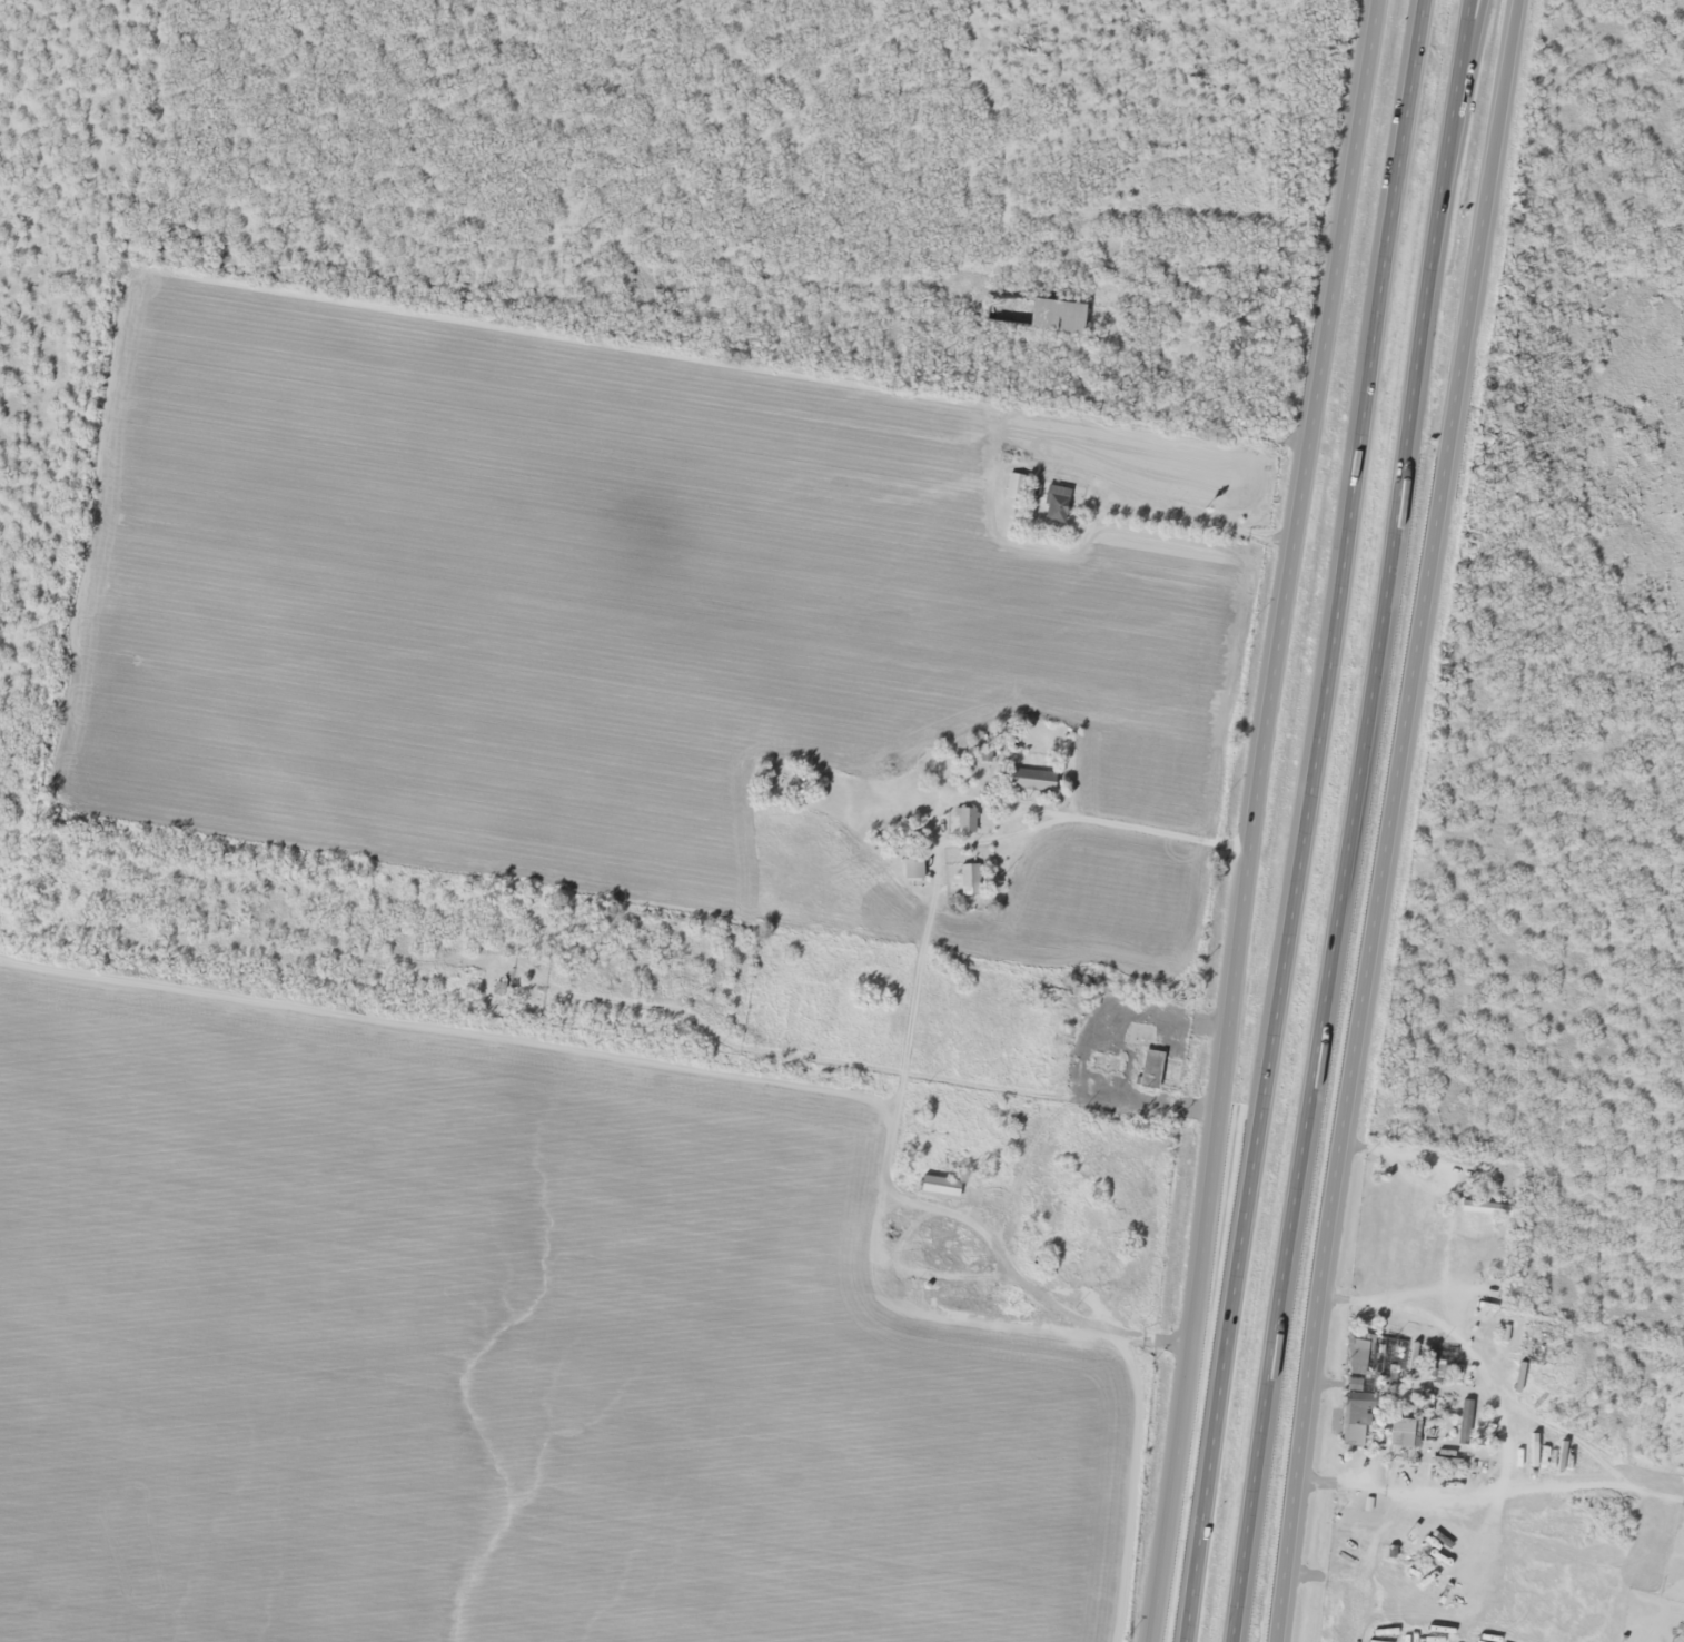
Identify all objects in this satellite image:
building: (1043, 315)
building: (1054, 505)
building: (1031, 781)
road: (1262, 820)
road: (1384, 820)
building: (964, 821)
road: (1306, 821)
road: (1350, 821)
building: (969, 880)
building: (1150, 1070)
building: (940, 1187)
building: (1485, 1209)
building: (1079, 1245)
building: (1360, 1315)
building: (1361, 1351)
building: (1355, 1420)
building: (1407, 1433)

